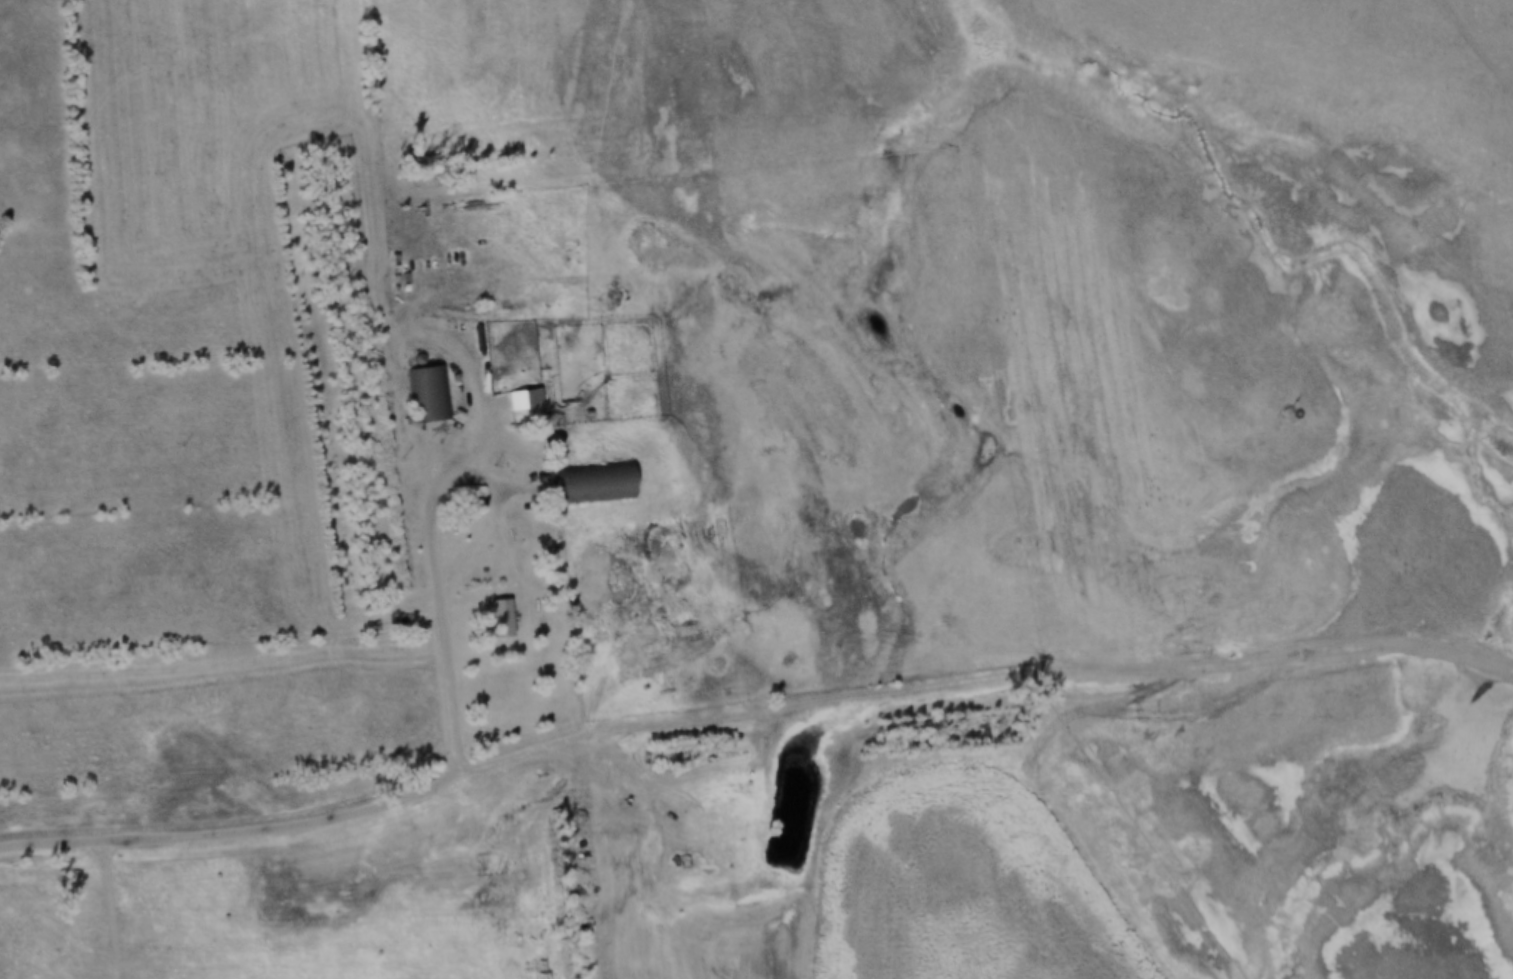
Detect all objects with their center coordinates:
road: (1481, 46)
building: (429, 391)
building: (523, 398)
road: (463, 450)
building: (469, 500)
building: (497, 615)
road: (986, 679)
road: (236, 834)

